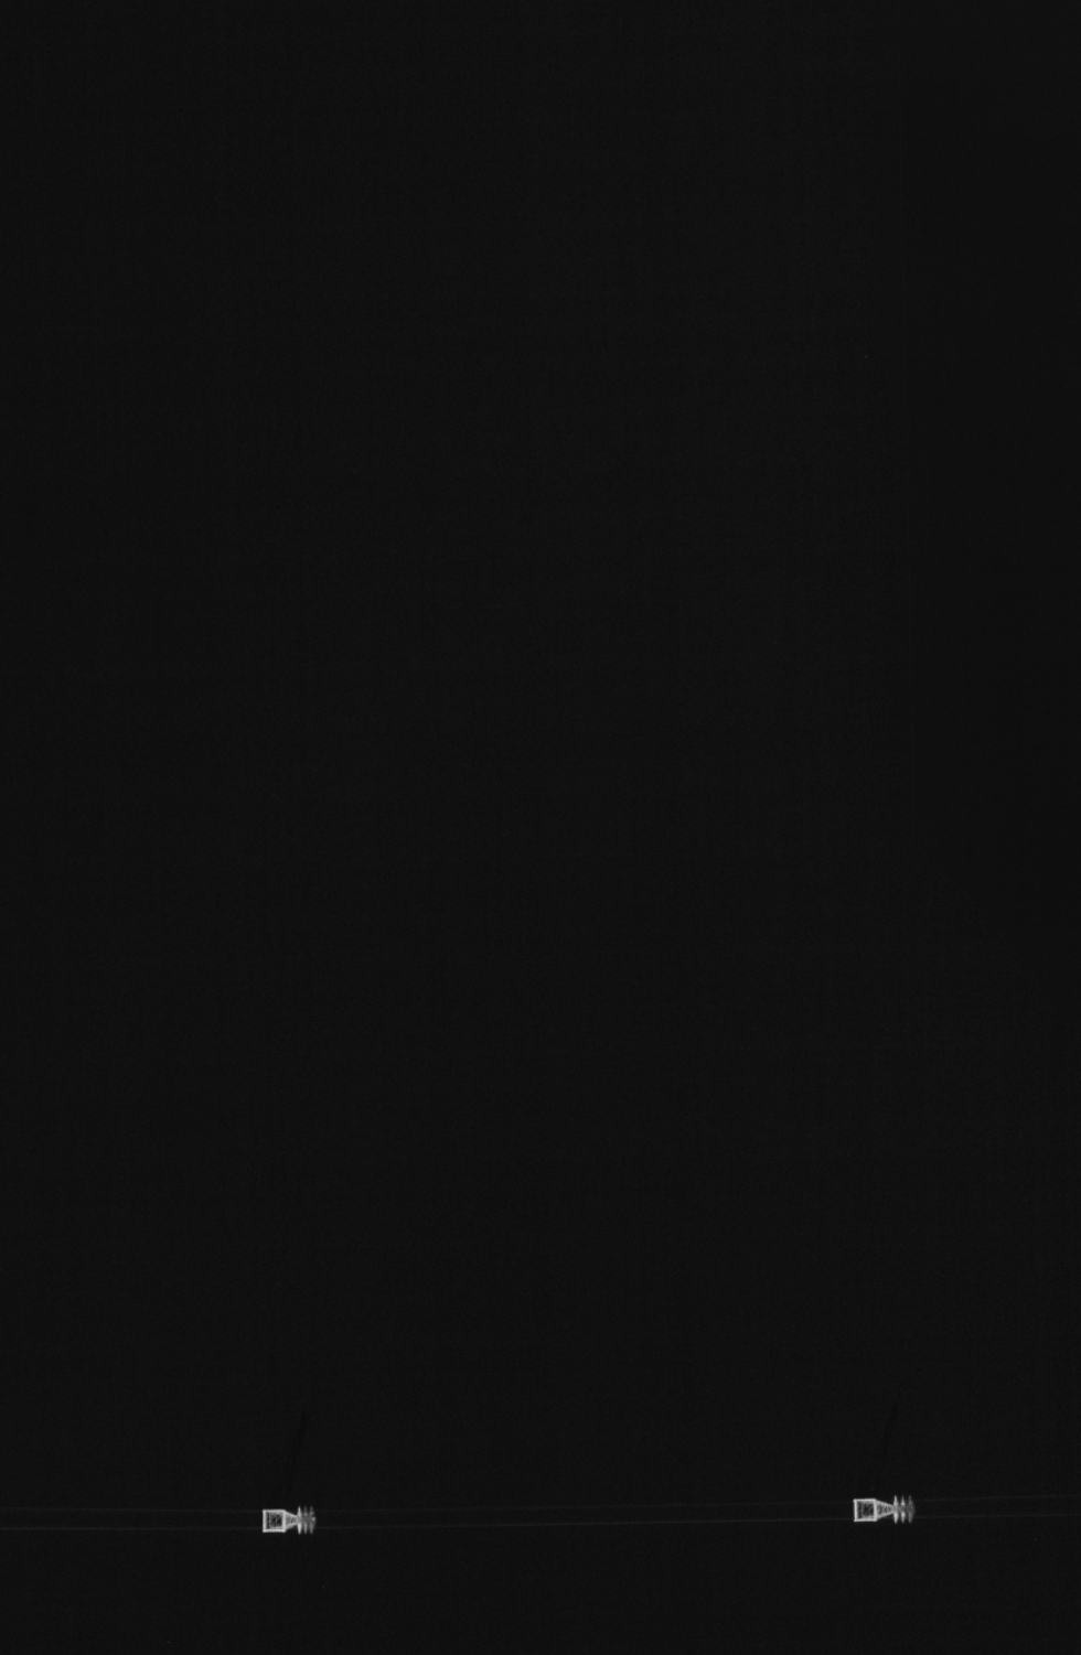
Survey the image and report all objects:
building: (73, 54)
river: (311, 1386)
power tower: (864, 1509)
power tower: (275, 1518)

